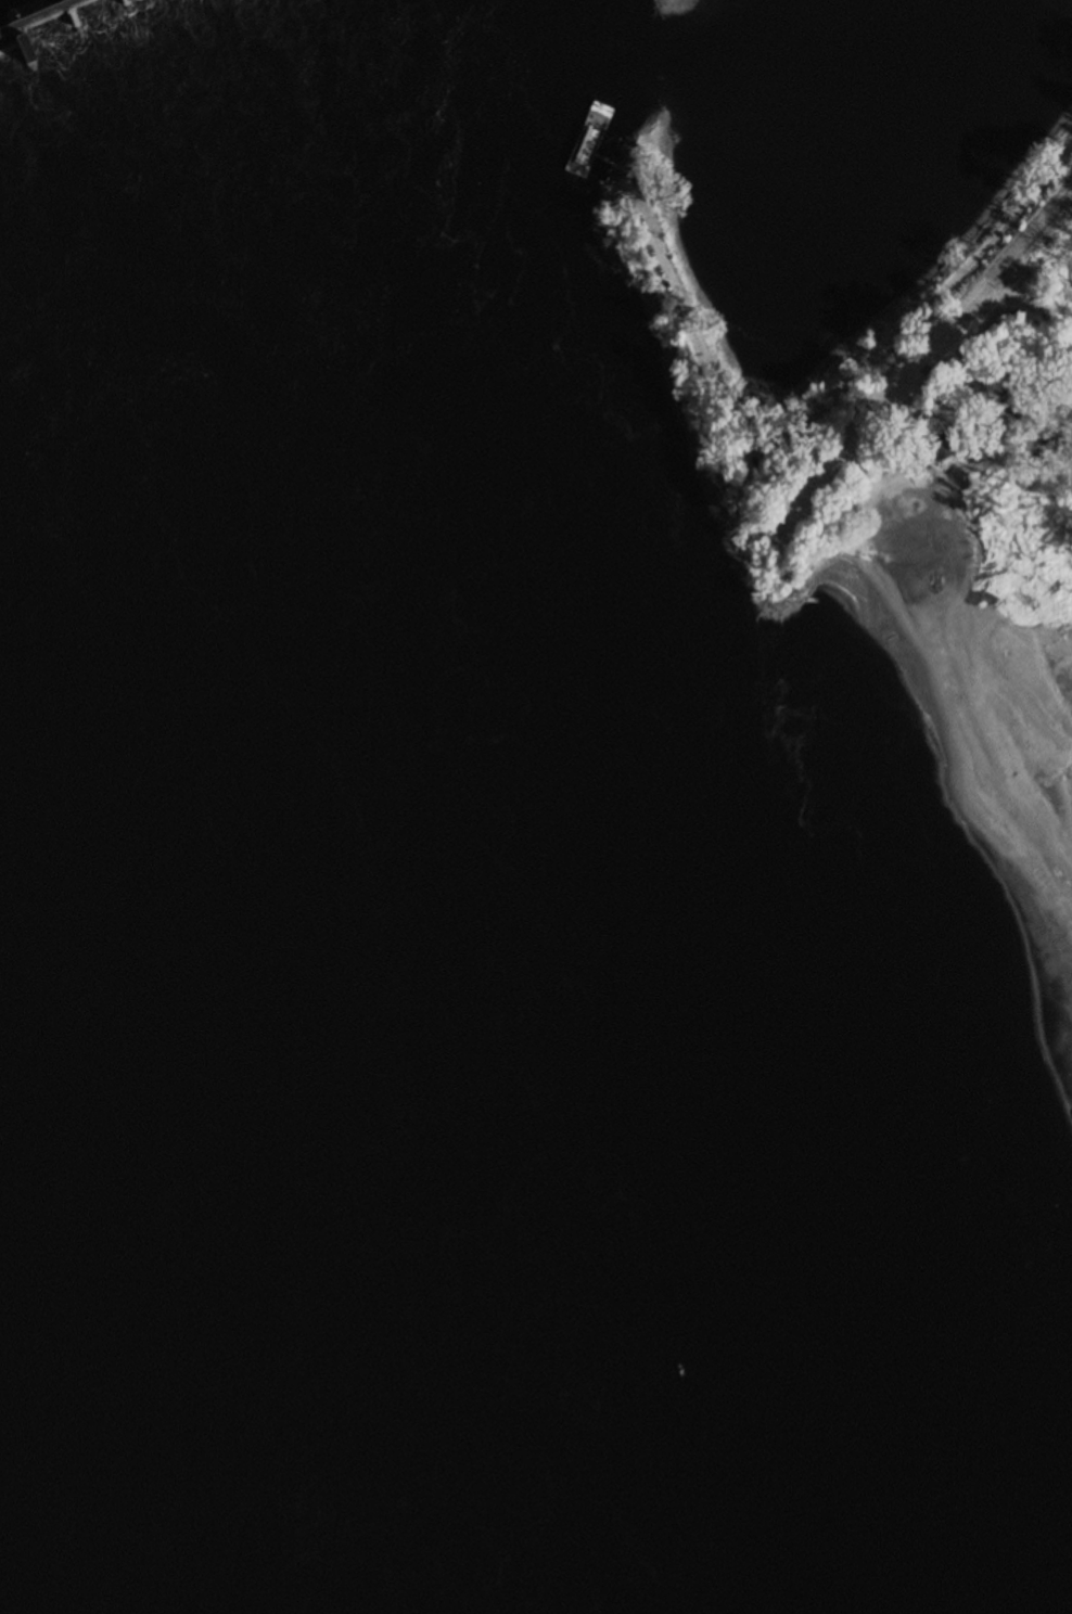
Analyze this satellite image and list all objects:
dam: (42, 26)
road: (1041, 218)
road: (1041, 292)
road: (701, 345)
road: (902, 379)

